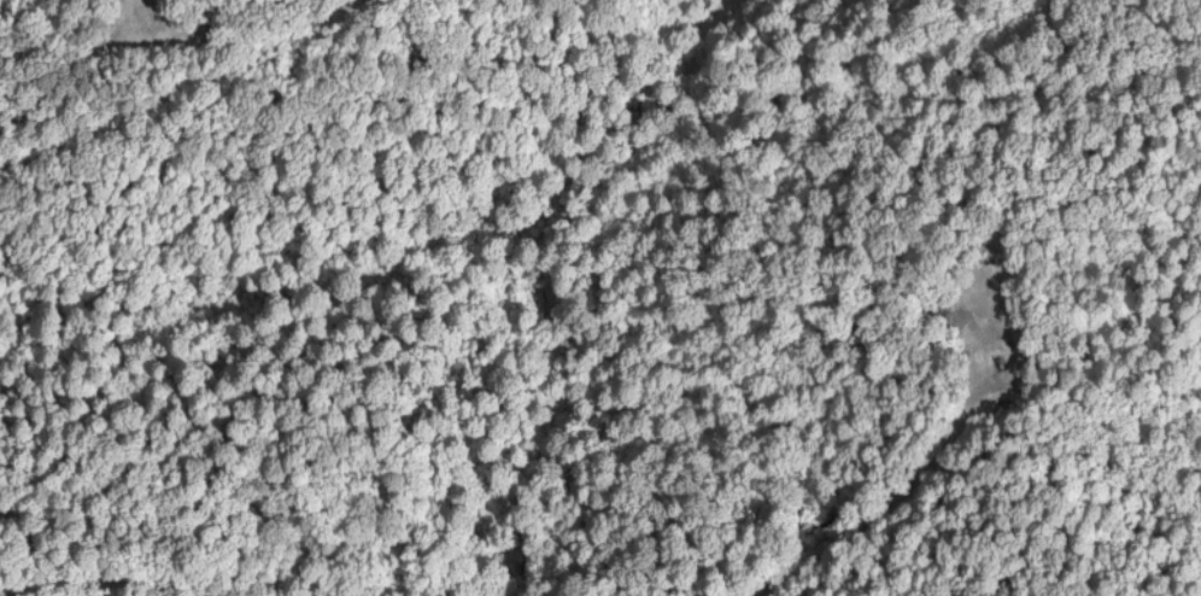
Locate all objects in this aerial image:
road: (96, 111)

